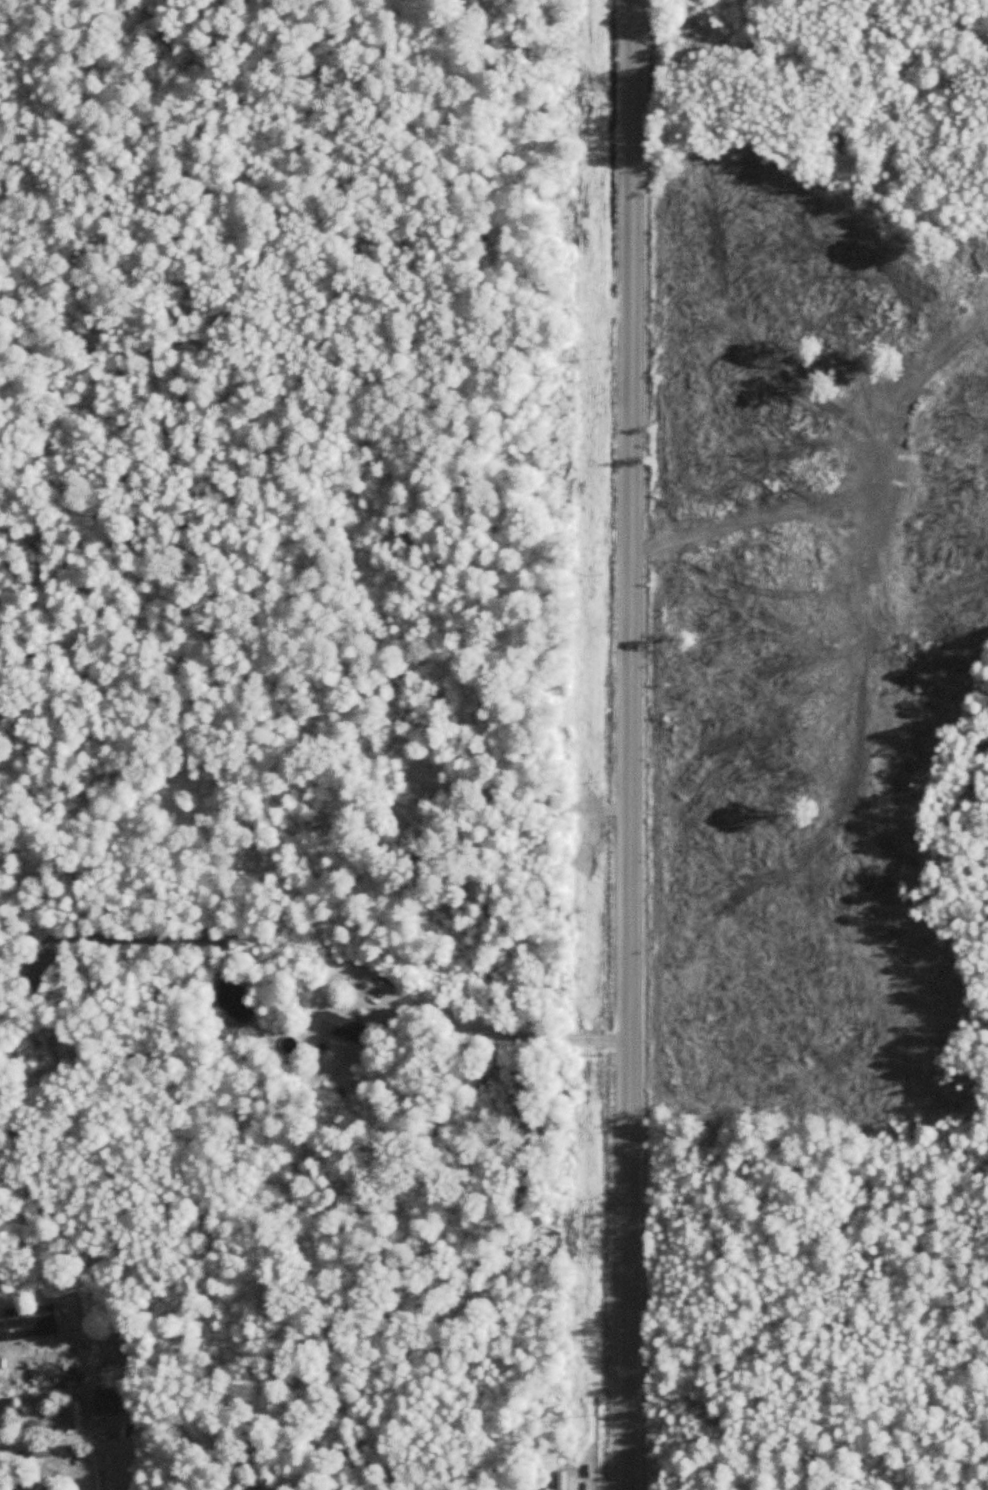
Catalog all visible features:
road: (628, 745)
building: (342, 1027)
road: (504, 1032)
building: (1, 1363)
building: (50, 1378)
building: (106, 1401)
road: (82, 1433)

